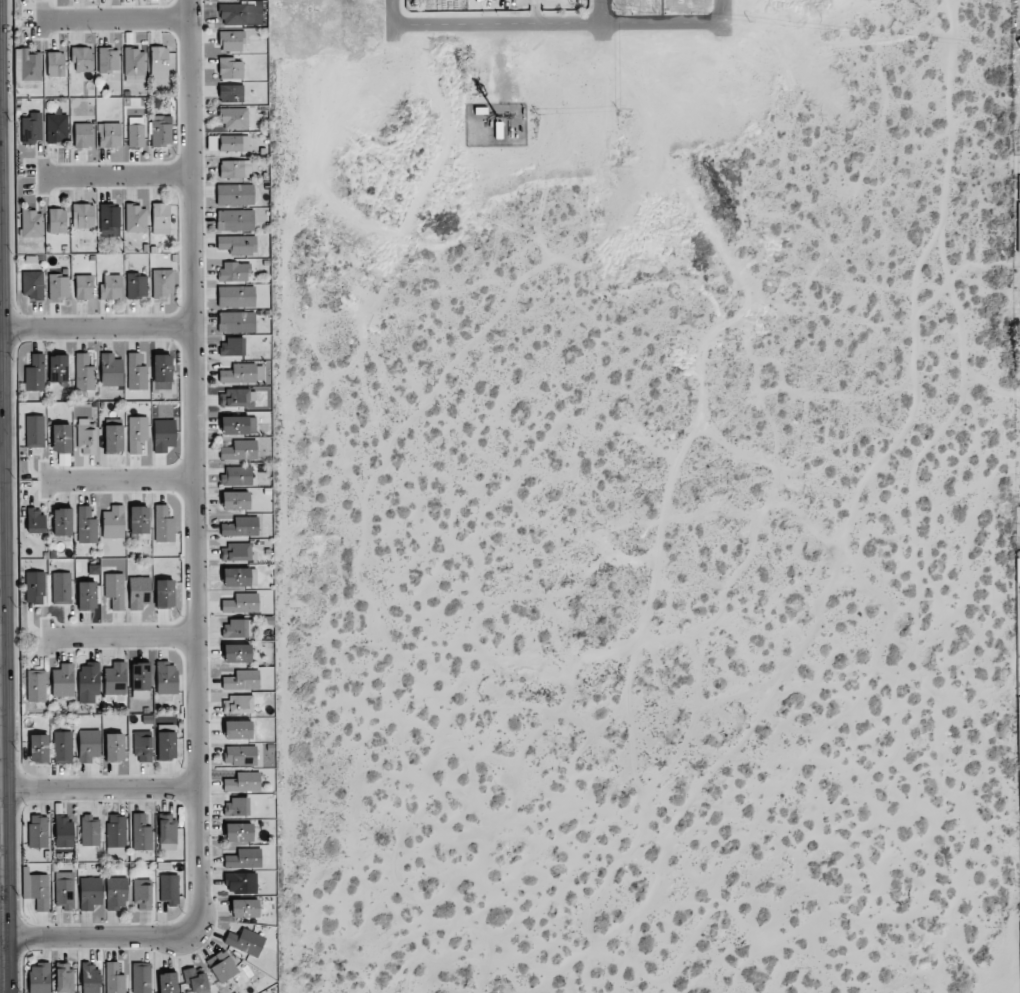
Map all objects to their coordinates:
road: (599, 11)
building: (237, 14)
road: (111, 19)
park: (488, 22)
building: (231, 41)
building: (82, 59)
building: (108, 60)
building: (159, 62)
building: (55, 64)
building: (134, 65)
building: (26, 67)
building: (230, 68)
building: (231, 93)
building: (234, 118)
building: (56, 127)
building: (30, 128)
building: (160, 131)
building: (135, 132)
building: (82, 135)
building: (109, 135)
building: (234, 143)
building: (235, 169)
road: (113, 177)
building: (235, 195)
building: (82, 216)
building: (160, 218)
building: (135, 219)
building: (109, 220)
building: (235, 220)
building: (56, 221)
building: (31, 223)
building: (1018, 226)
building: (237, 245)
building: (234, 272)
building: (162, 282)
building: (32, 284)
building: (58, 286)
building: (136, 286)
building: (84, 287)
building: (111, 287)
building: (236, 296)
building: (236, 322)
road: (95, 325)
building: (232, 346)
building: (57, 368)
building: (110, 370)
building: (136, 371)
building: (83, 372)
building: (161, 372)
building: (35, 373)
building: (242, 373)
building: (234, 398)
building: (238, 425)
building: (34, 431)
building: (136, 434)
building: (163, 435)
building: (86, 437)
building: (61, 438)
building: (113, 439)
building: (239, 450)
building: (236, 476)
road: (116, 478)
building: (235, 500)
building: (138, 520)
building: (35, 521)
building: (62, 522)
building: (113, 522)
building: (163, 524)
building: (86, 525)
building: (240, 527)
building: (236, 552)
road: (192, 560)
building: (94, 569)
building: (239, 577)
building: (34, 587)
building: (61, 588)
building: (115, 590)
building: (139, 592)
building: (164, 593)
building: (86, 595)
building: (241, 603)
building: (235, 628)
road: (119, 636)
building: (237, 653)
building: (166, 677)
building: (115, 679)
building: (62, 680)
building: (140, 680)
building: (241, 680)
building: (88, 682)
building: (36, 685)
building: (237, 704)
building: (238, 730)
building: (88, 745)
building: (142, 746)
building: (166, 746)
building: (62, 747)
building: (114, 747)
building: (38, 748)
building: (240, 755)
building: (243, 782)
road: (97, 791)
building: (236, 807)
building: (166, 829)
building: (90, 830)
building: (38, 831)
building: (64, 831)
building: (238, 832)
building: (141, 833)
building: (115, 834)
building: (243, 859)
building: (240, 882)
building: (36, 889)
building: (168, 889)
building: (64, 890)
building: (90, 892)
building: (116, 893)
building: (142, 894)
building: (244, 908)
building: (245, 942)
road: (0, 965)
building: (222, 966)
building: (90, 977)
building: (141, 977)
building: (39, 978)
building: (64, 978)
building: (114, 978)
building: (196, 980)
building: (167, 982)

